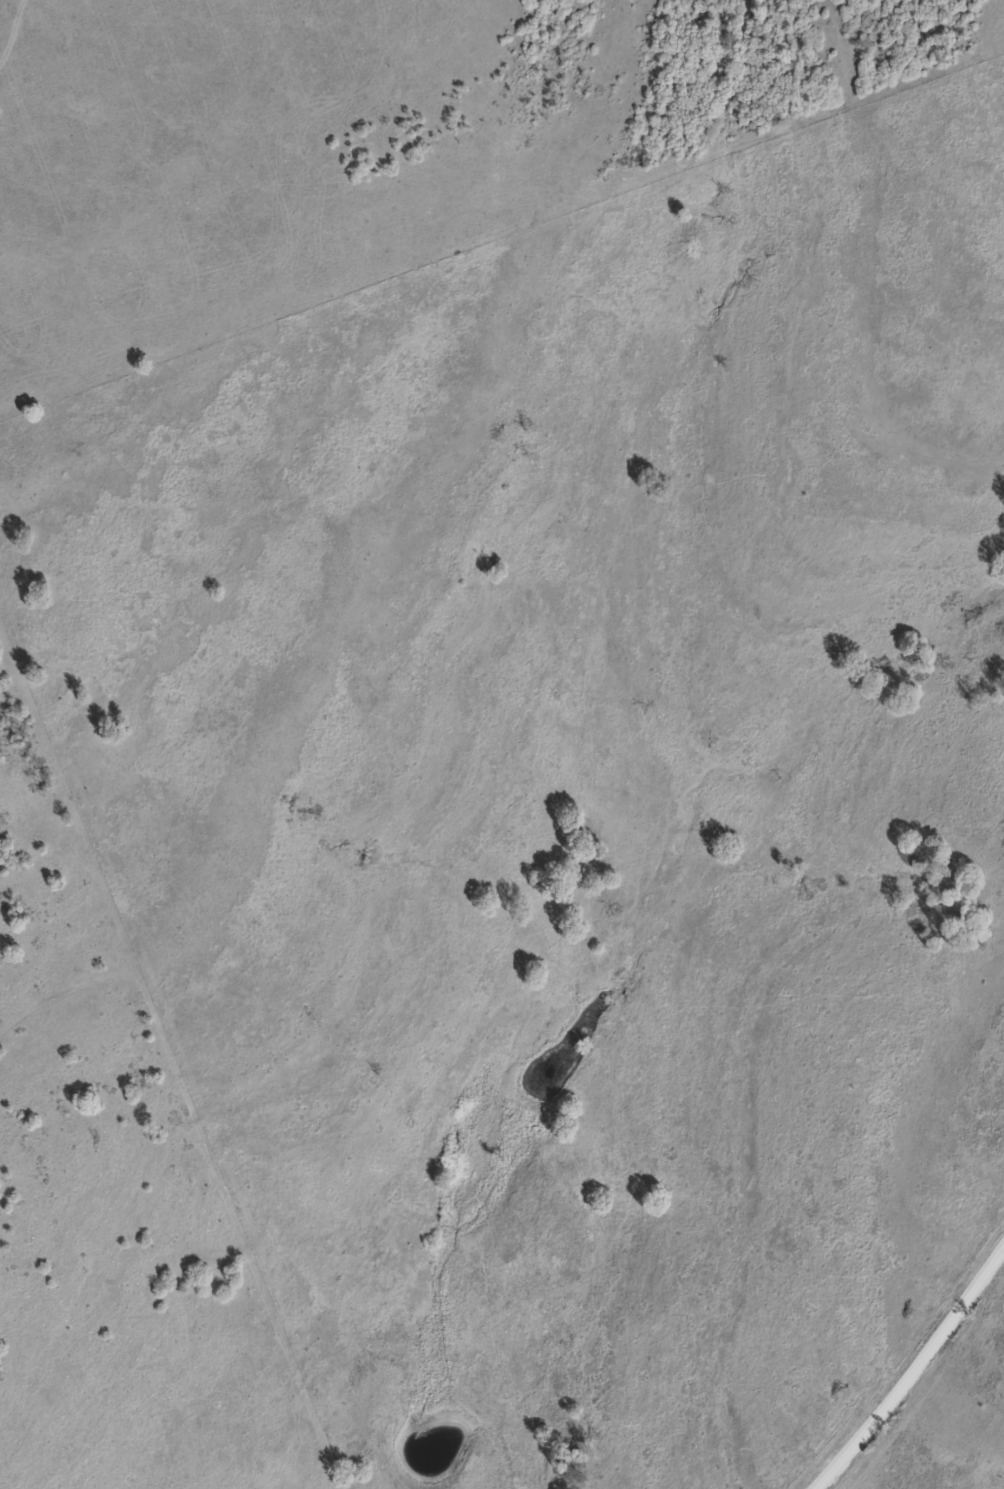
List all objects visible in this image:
road: (904, 1362)

